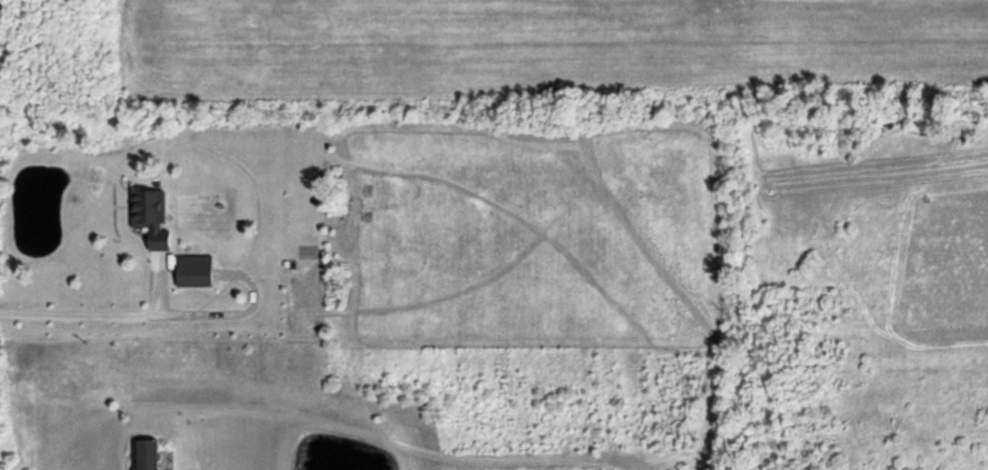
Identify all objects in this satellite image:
building: (147, 220)
building: (189, 271)
road: (111, 315)
building: (140, 454)

